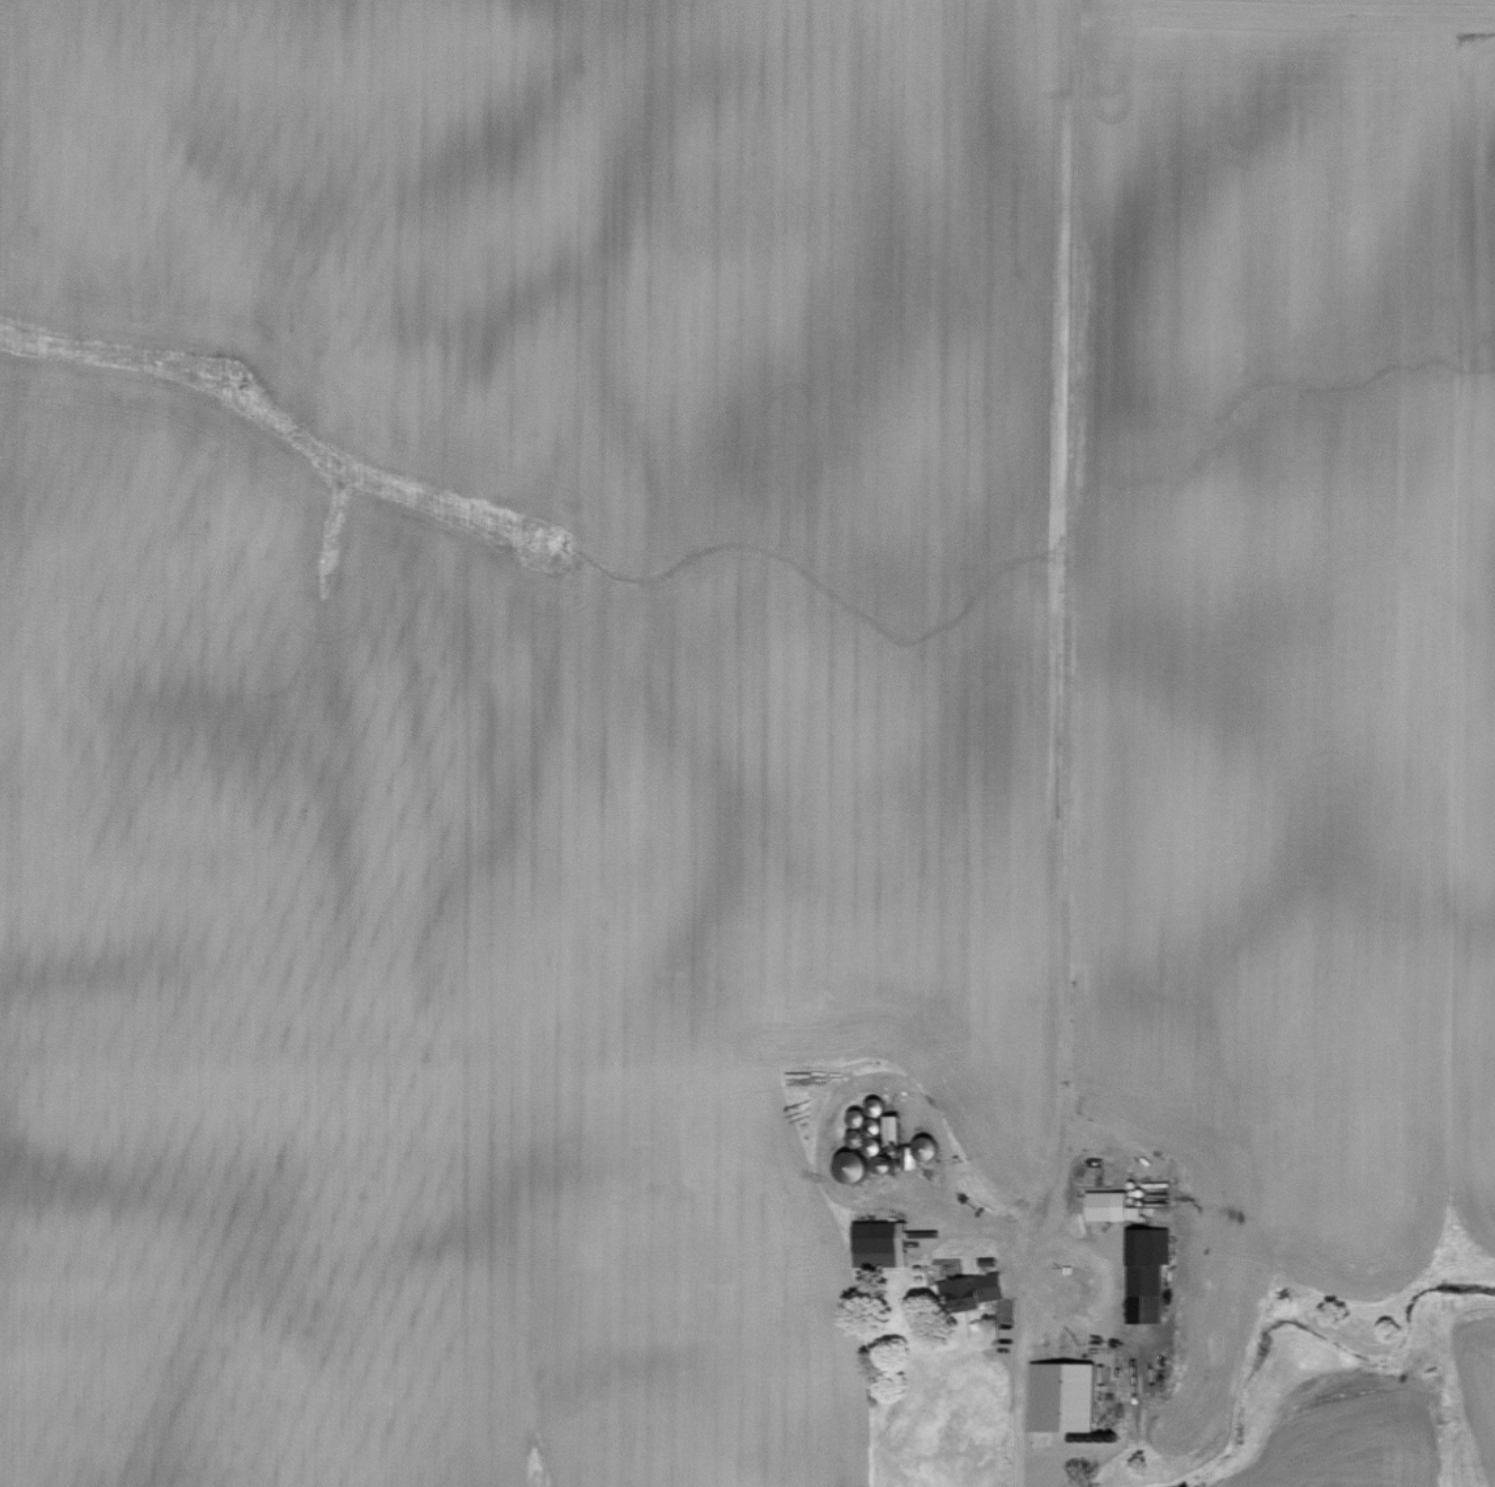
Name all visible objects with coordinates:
building: (873, 1244)
building: (1145, 1265)
road: (1026, 1362)
building: (1054, 1391)

